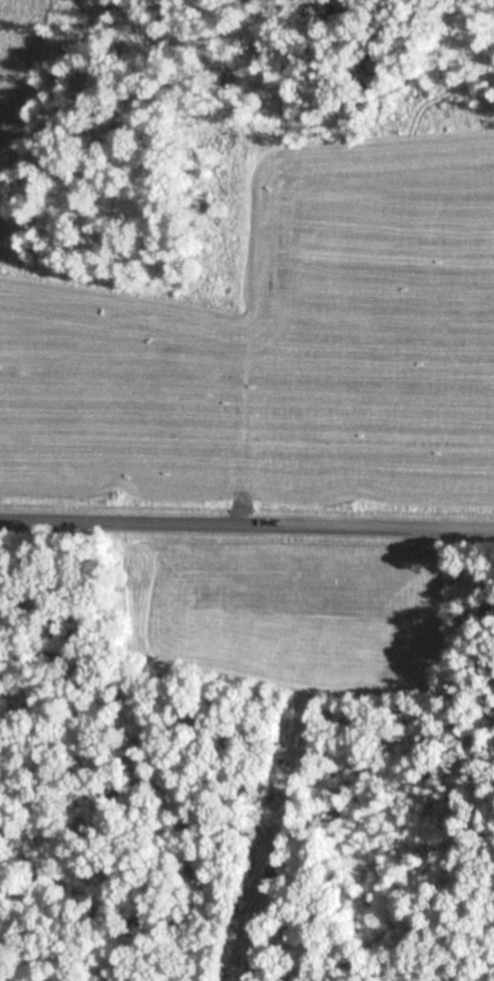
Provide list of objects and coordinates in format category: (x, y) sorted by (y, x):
road: (247, 526)

